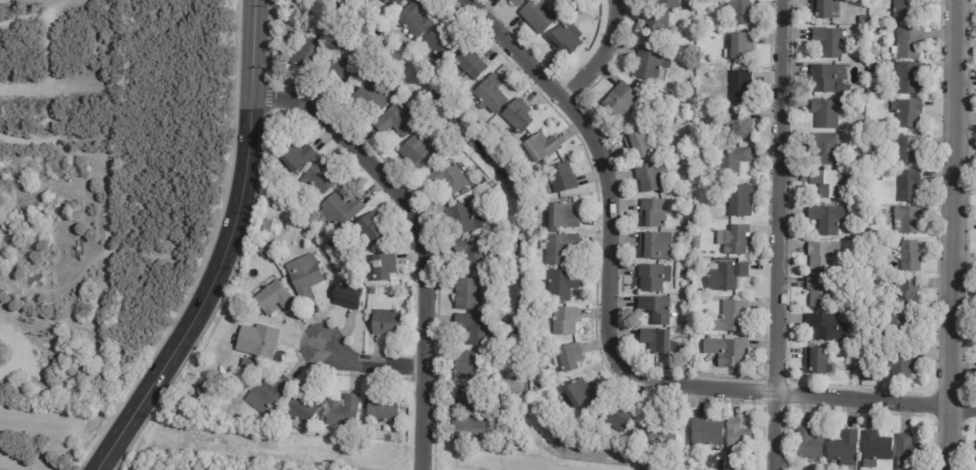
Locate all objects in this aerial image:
building: (386, 0)
building: (364, 1)
building: (397, 2)
building: (515, 2)
building: (667, 4)
building: (824, 9)
building: (905, 10)
building: (739, 11)
building: (538, 15)
building: (415, 18)
building: (872, 18)
building: (863, 20)
building: (655, 27)
building: (565, 40)
building: (828, 41)
building: (442, 43)
building: (908, 43)
building: (739, 48)
building: (305, 51)
road: (597, 52)
building: (650, 63)
building: (467, 65)
building: (874, 68)
building: (340, 75)
building: (863, 79)
building: (905, 79)
building: (828, 81)
building: (740, 87)
building: (462, 89)
building: (639, 89)
building: (874, 89)
building: (492, 91)
building: (861, 92)
building: (707, 96)
building: (369, 99)
building: (619, 100)
building: (907, 113)
building: (824, 114)
building: (517, 116)
building: (688, 117)
building: (396, 121)
building: (738, 124)
building: (640, 145)
building: (540, 147)
building: (824, 149)
building: (906, 149)
building: (417, 153)
building: (295, 157)
building: (446, 157)
building: (732, 160)
building: (670, 161)
building: (650, 177)
building: (319, 178)
building: (446, 178)
building: (562, 178)
building: (275, 183)
building: (690, 183)
building: (828, 184)
building: (908, 186)
building: (738, 200)
building: (684, 202)
building: (861, 208)
building: (871, 209)
building: (302, 211)
building: (339, 211)
building: (654, 213)
building: (562, 217)
building: (827, 219)
building: (908, 219)
building: (461, 220)
building: (497, 221)
building: (367, 231)
road: (950, 234)
road: (778, 235)
road: (422, 237)
building: (735, 241)
building: (696, 242)
building: (656, 247)
building: (557, 249)
road: (225, 251)
building: (261, 253)
building: (473, 254)
building: (684, 257)
building: (824, 257)
building: (910, 257)
building: (335, 265)
building: (382, 267)
building: (683, 271)
building: (304, 277)
building: (652, 278)
building: (725, 278)
building: (561, 286)
building: (688, 289)
building: (371, 291)
building: (405, 292)
building: (819, 292)
building: (906, 294)
building: (467, 295)
building: (271, 296)
building: (346, 297)
building: (655, 311)
building: (731, 317)
building: (385, 322)
building: (564, 322)
building: (898, 323)
building: (473, 328)
building: (824, 328)
road: (607, 339)
building: (257, 341)
building: (654, 342)
road: (20, 348)
building: (727, 353)
building: (495, 358)
building: (565, 359)
building: (692, 359)
road: (370, 361)
building: (815, 362)
building: (900, 364)
building: (249, 365)
building: (469, 366)
building: (494, 367)
building: (533, 375)
building: (891, 385)
building: (200, 393)
building: (581, 394)
building: (268, 395)
building: (468, 402)
building: (383, 408)
building: (301, 410)
building: (342, 412)
building: (615, 419)
building: (468, 431)
road: (55, 432)
building: (662, 433)
building: (706, 433)
building: (738, 440)
building: (808, 442)
building: (877, 446)
building: (844, 448)
building: (909, 453)
building: (975, 454)
road: (7, 467)
building: (729, 467)

